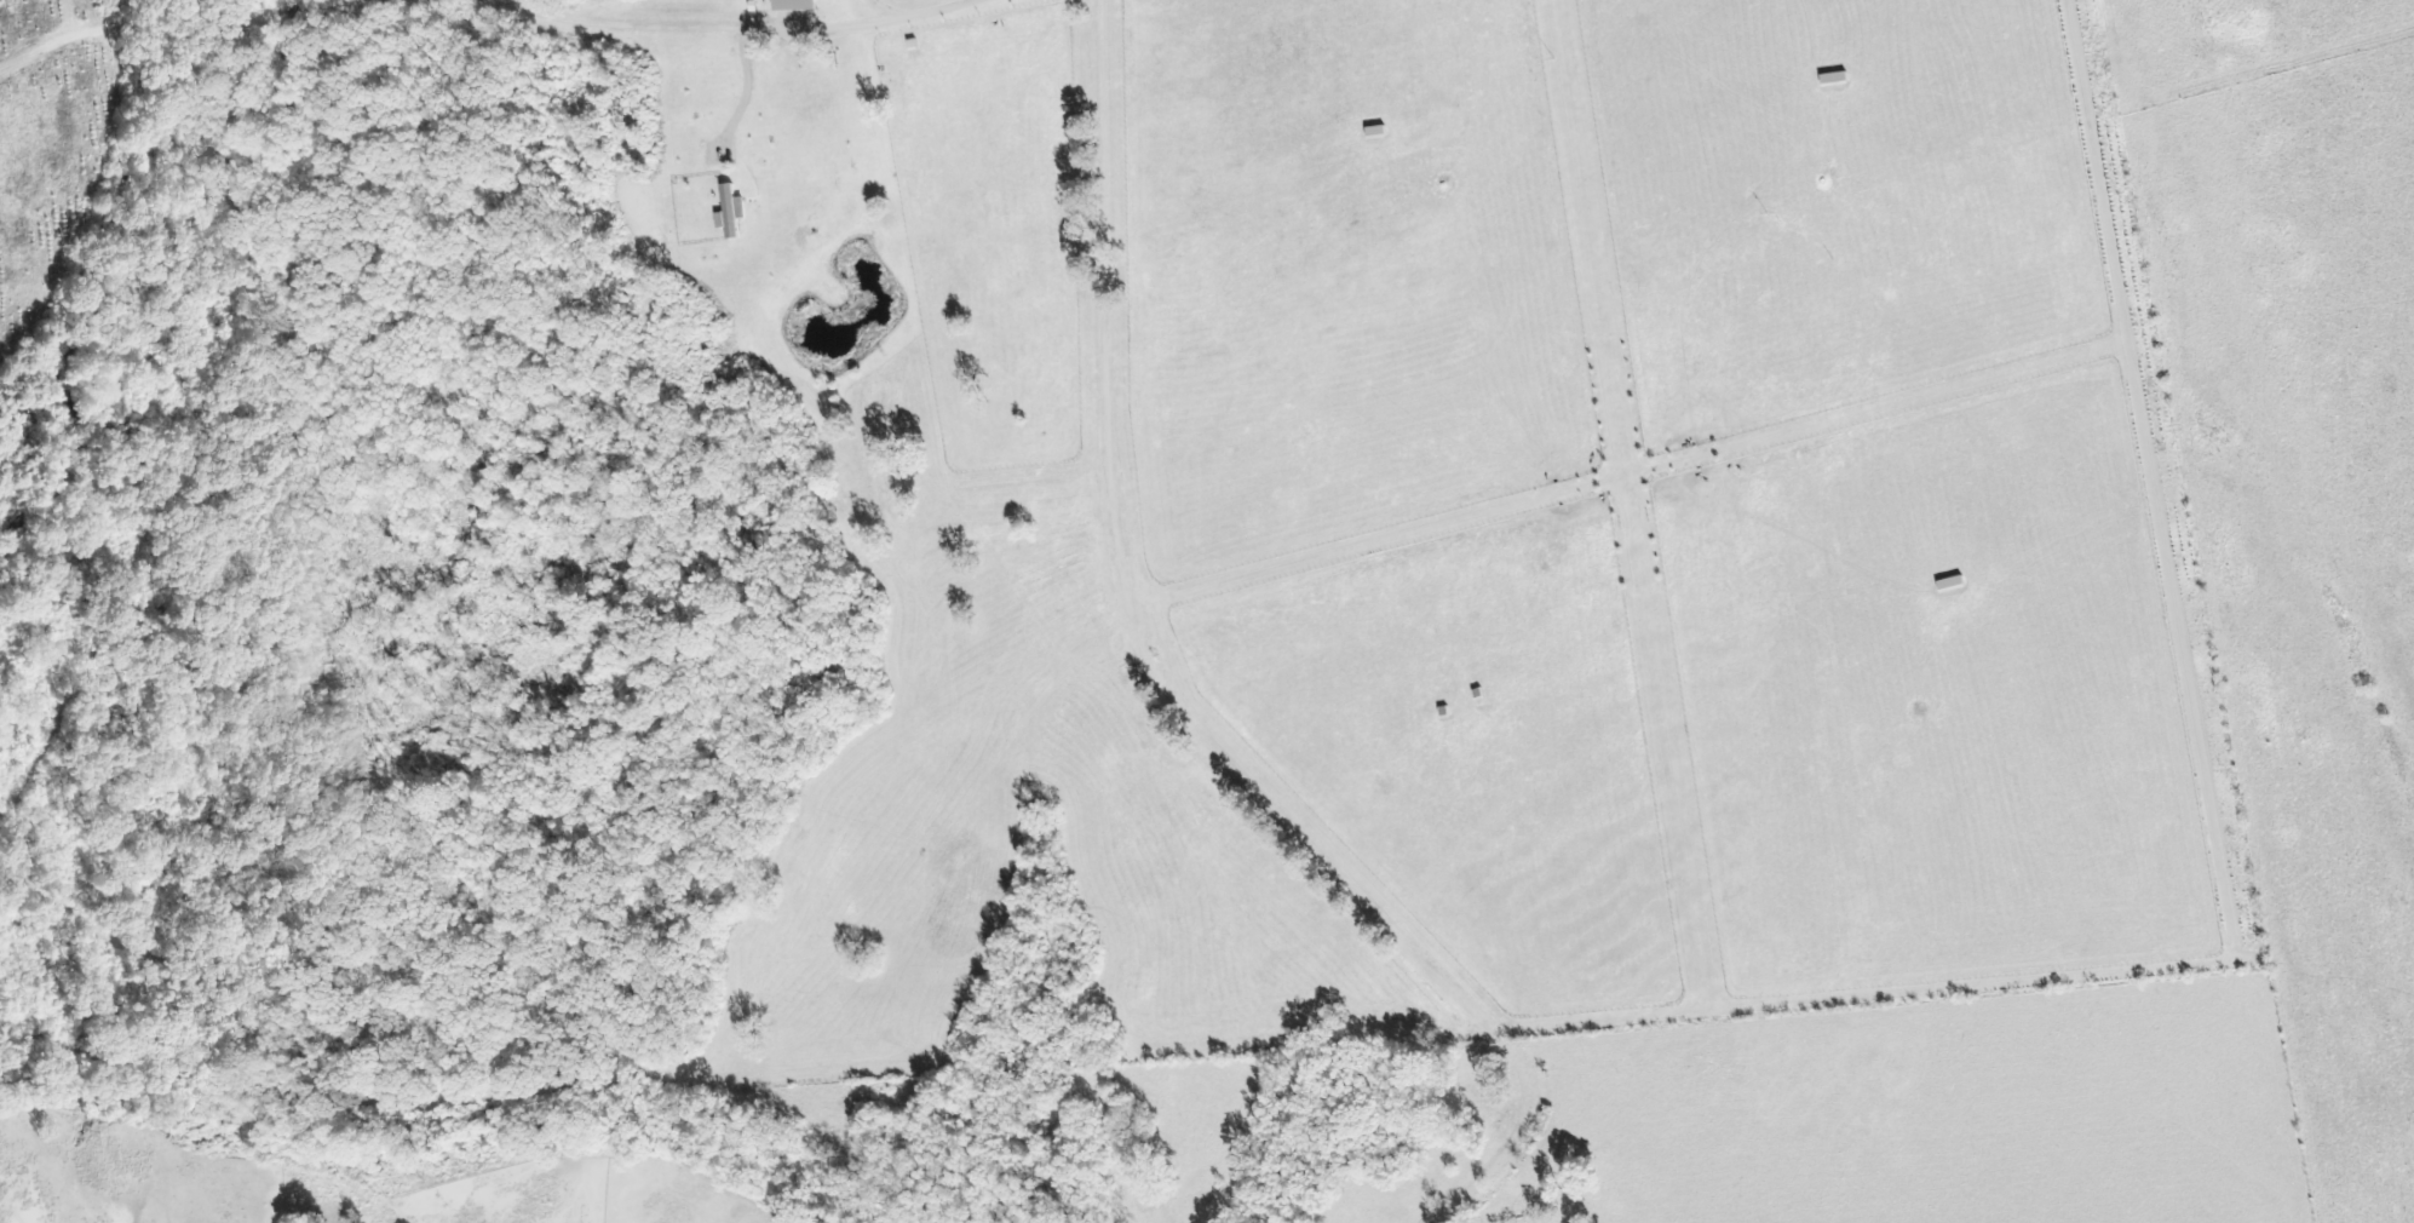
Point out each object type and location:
building: (799, 5)
road: (798, 28)
building: (734, 212)

